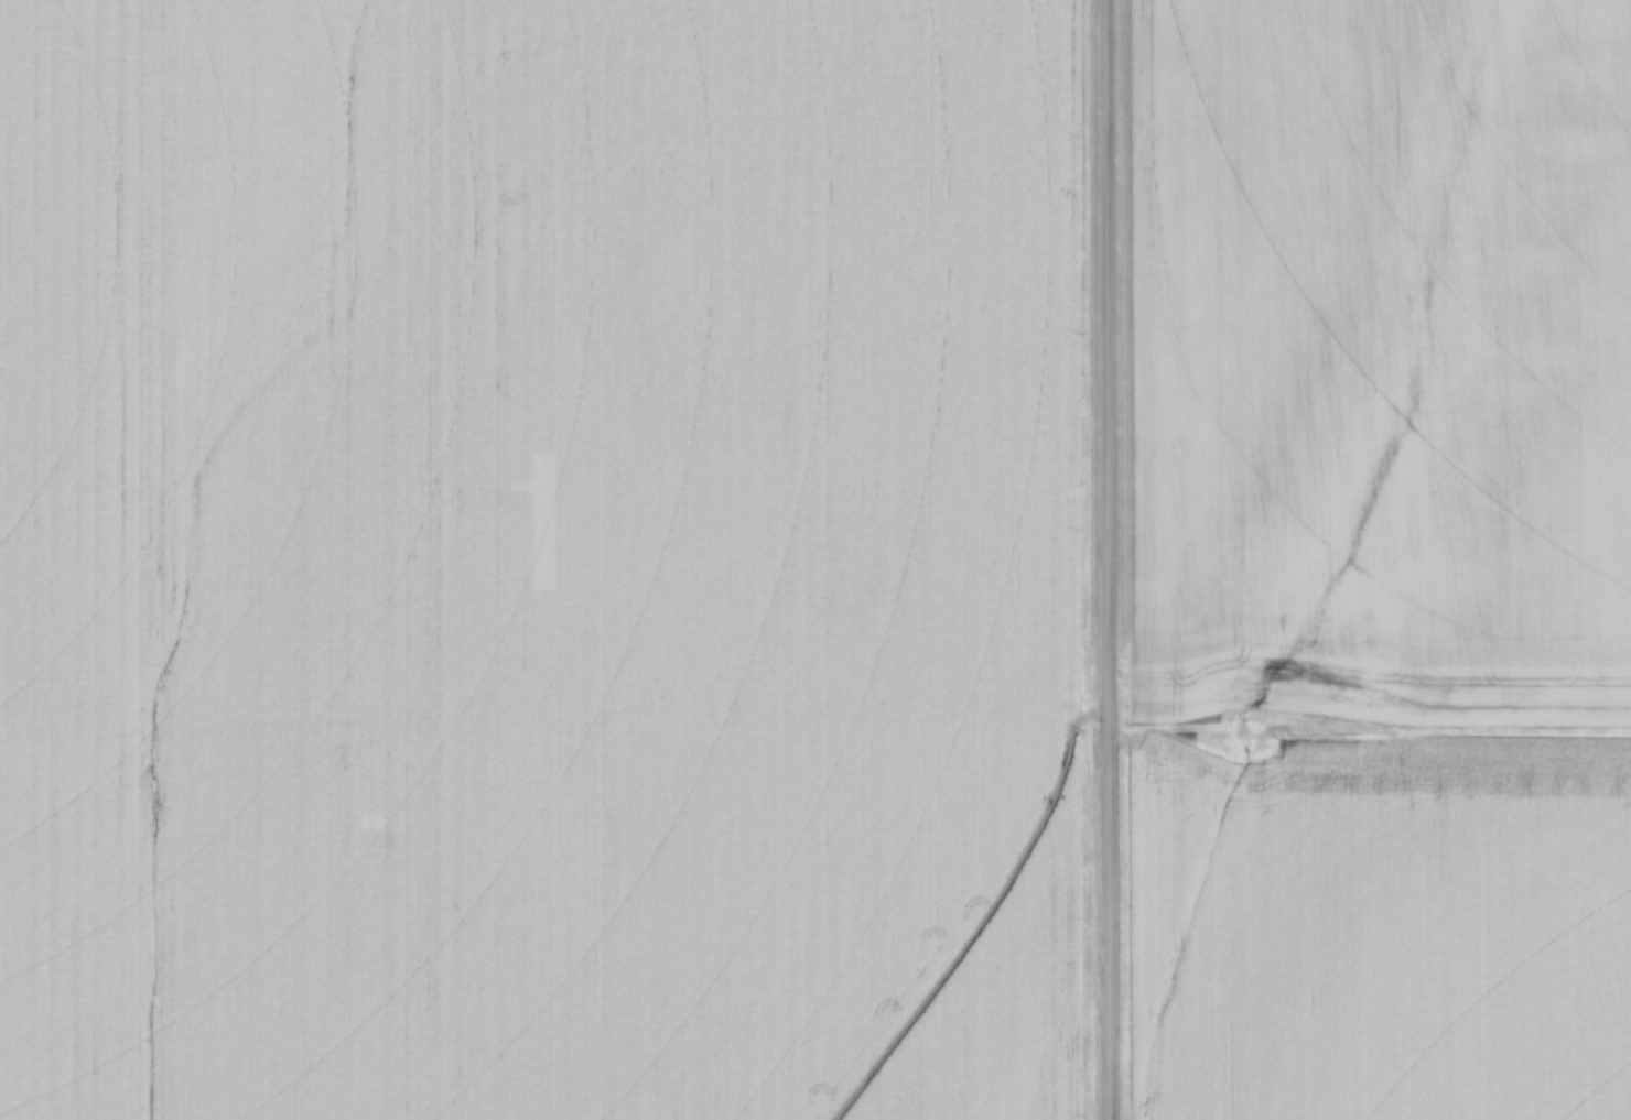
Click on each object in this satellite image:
road: (1099, 559)

